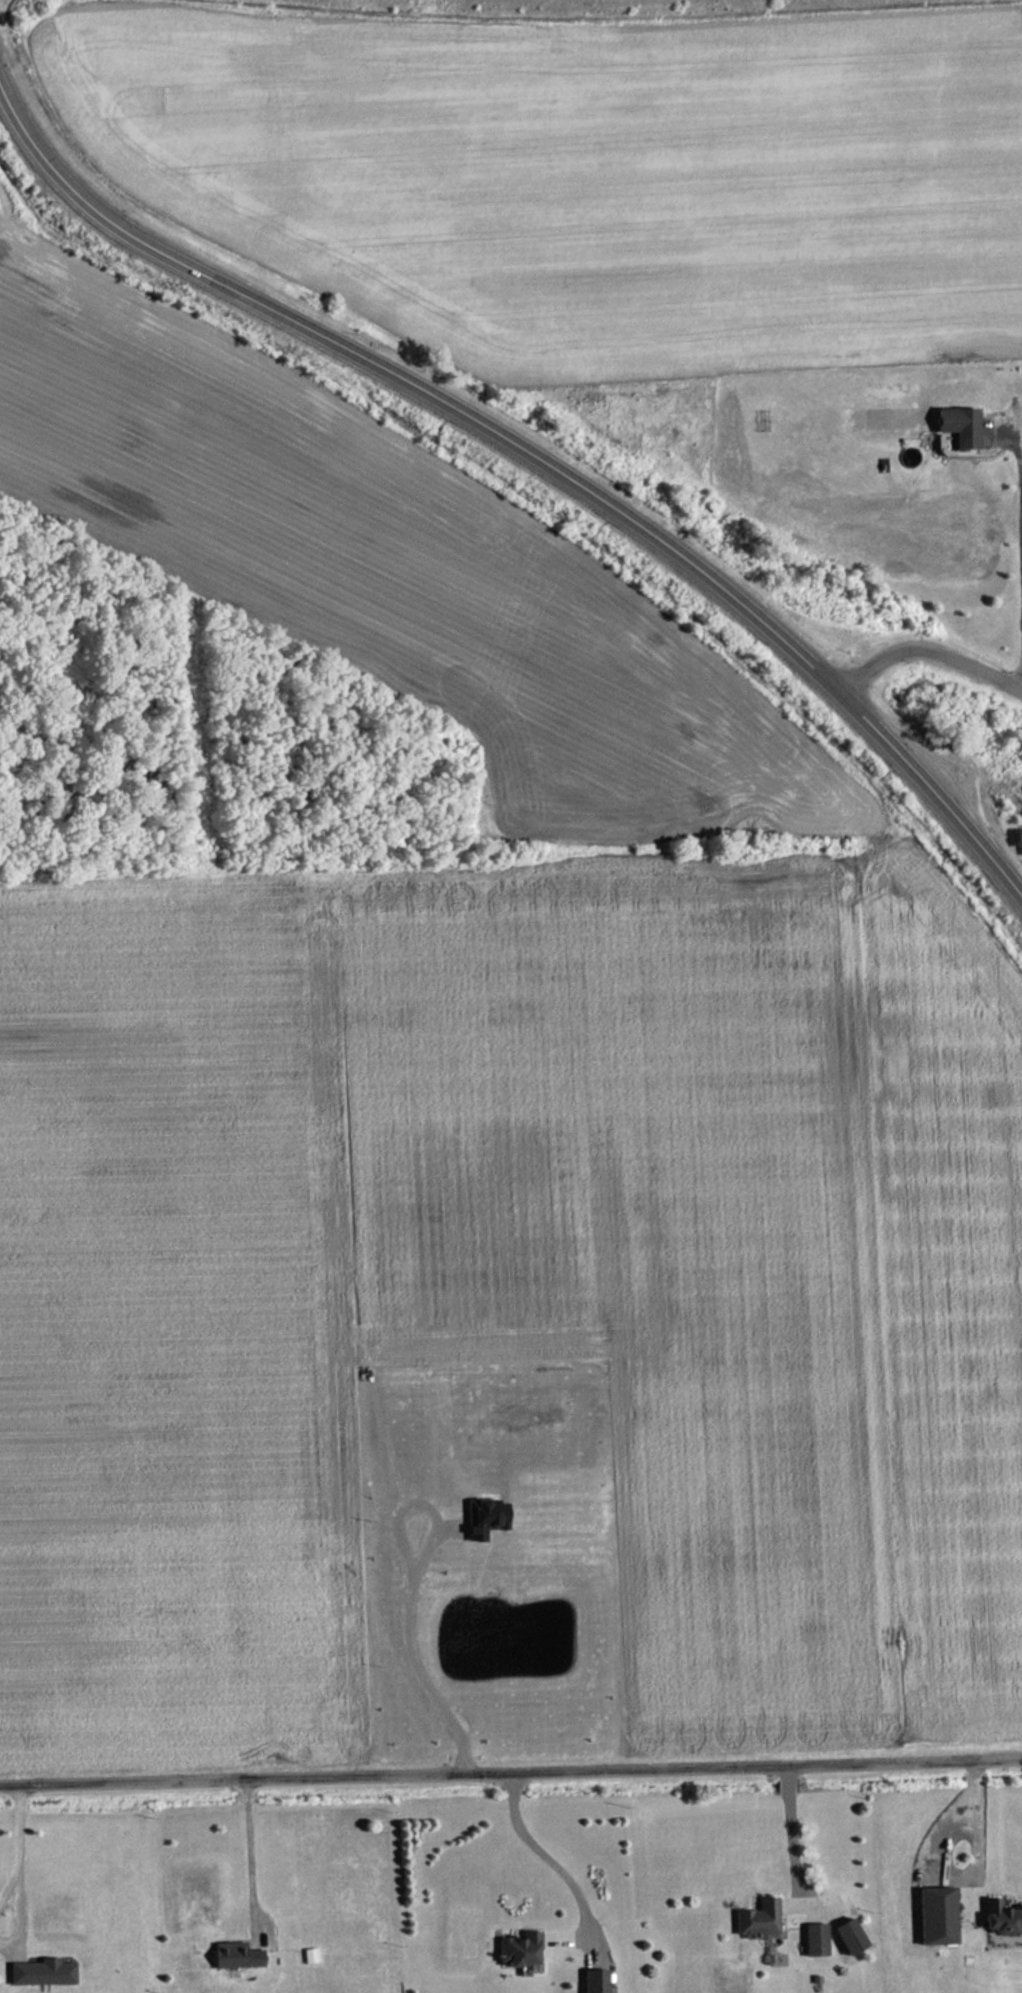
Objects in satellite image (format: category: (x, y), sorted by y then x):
building: (961, 427)
road: (1011, 431)
road: (530, 455)
road: (927, 645)
road: (1020, 676)
building: (486, 1517)
road: (395, 1587)
road: (510, 1765)
road: (14, 1821)
road: (780, 1822)
road: (245, 1854)
road: (538, 1854)
road: (7, 1875)
road: (14, 1906)
building: (928, 1918)
building: (752, 1919)
building: (997, 1919)
building: (840, 1936)
building: (808, 1940)
building: (521, 1949)
building: (236, 1956)
building: (308, 1956)
building: (42, 1972)
building: (596, 1981)

